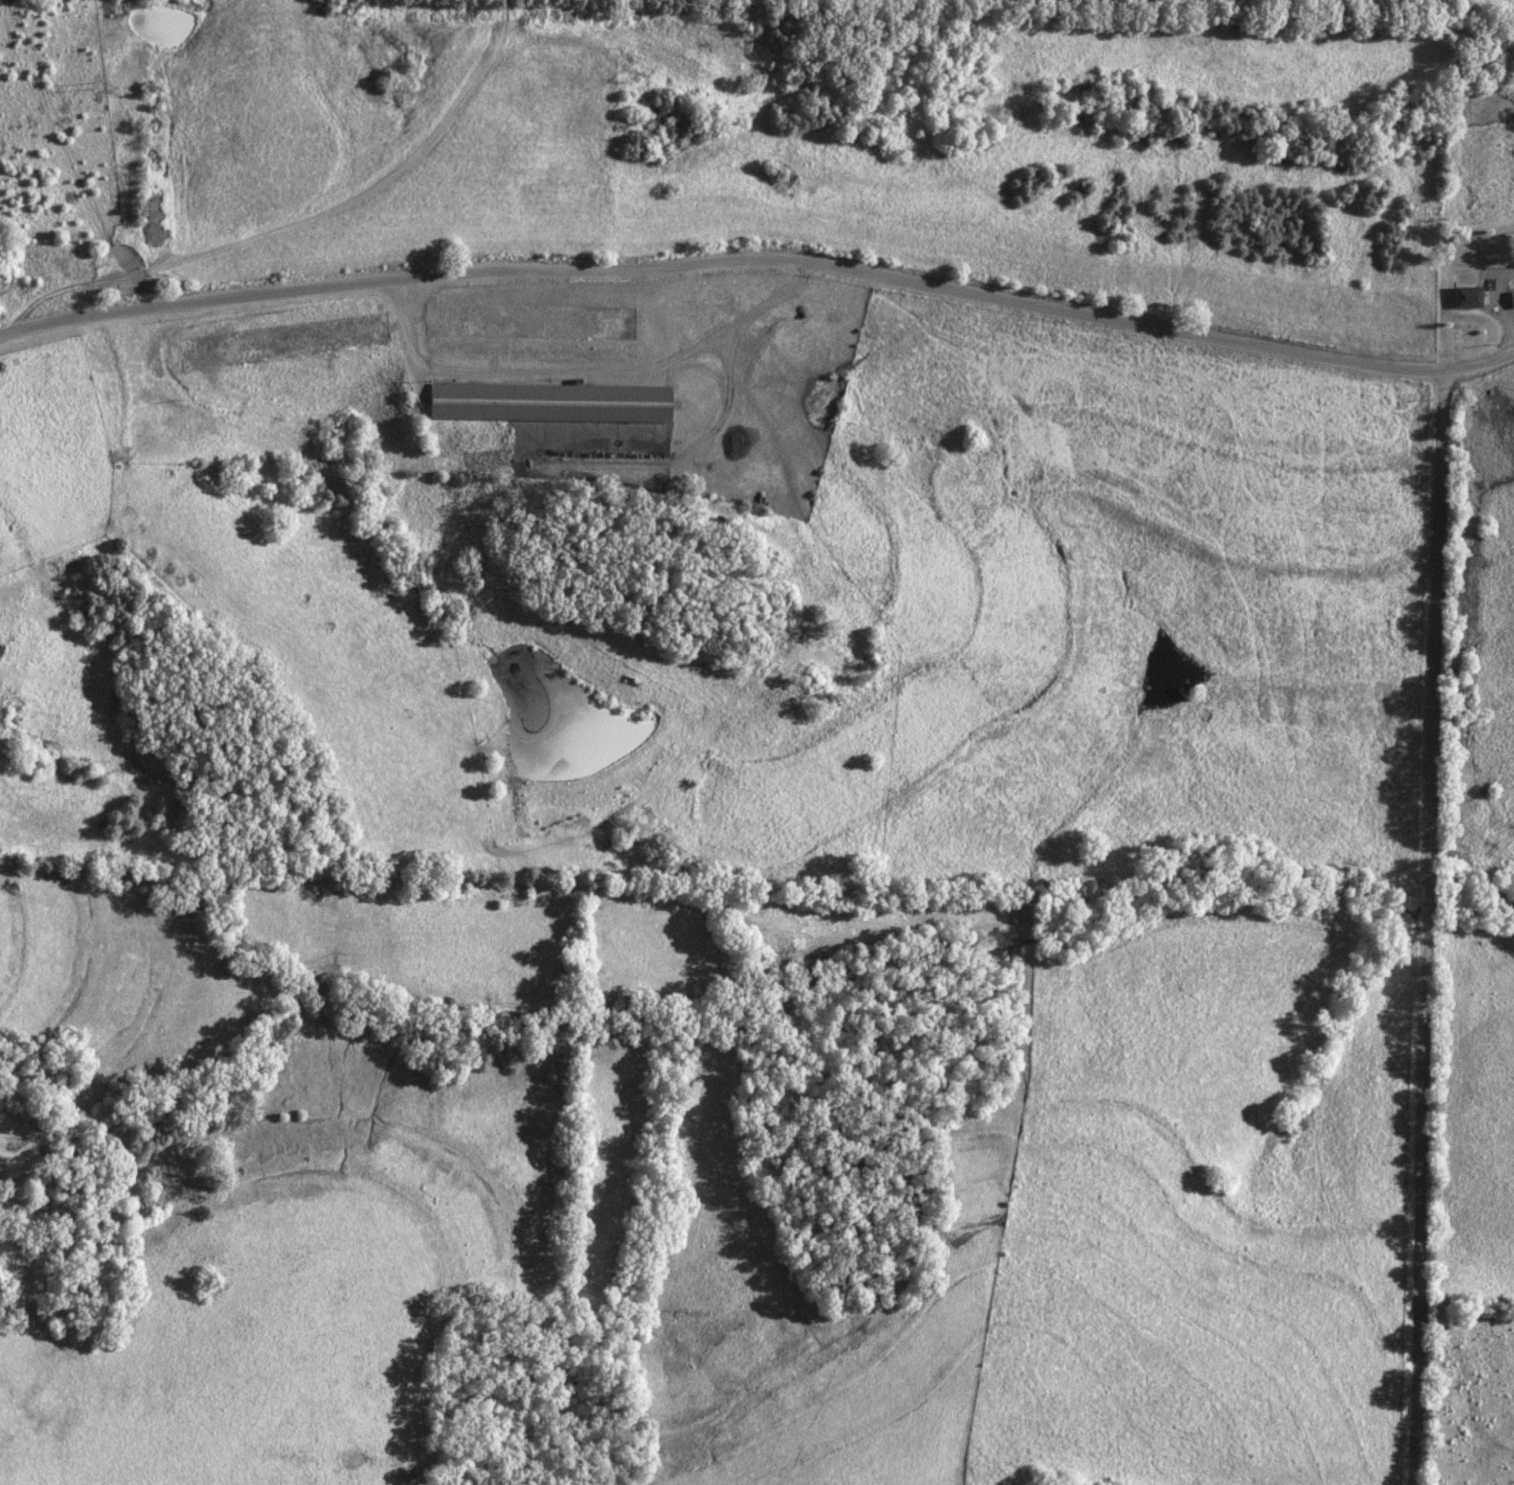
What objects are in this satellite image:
road: (760, 261)
building: (1466, 295)
building: (526, 323)
building: (281, 343)
road: (584, 370)
building: (545, 404)
building: (478, 715)
road: (1427, 926)

